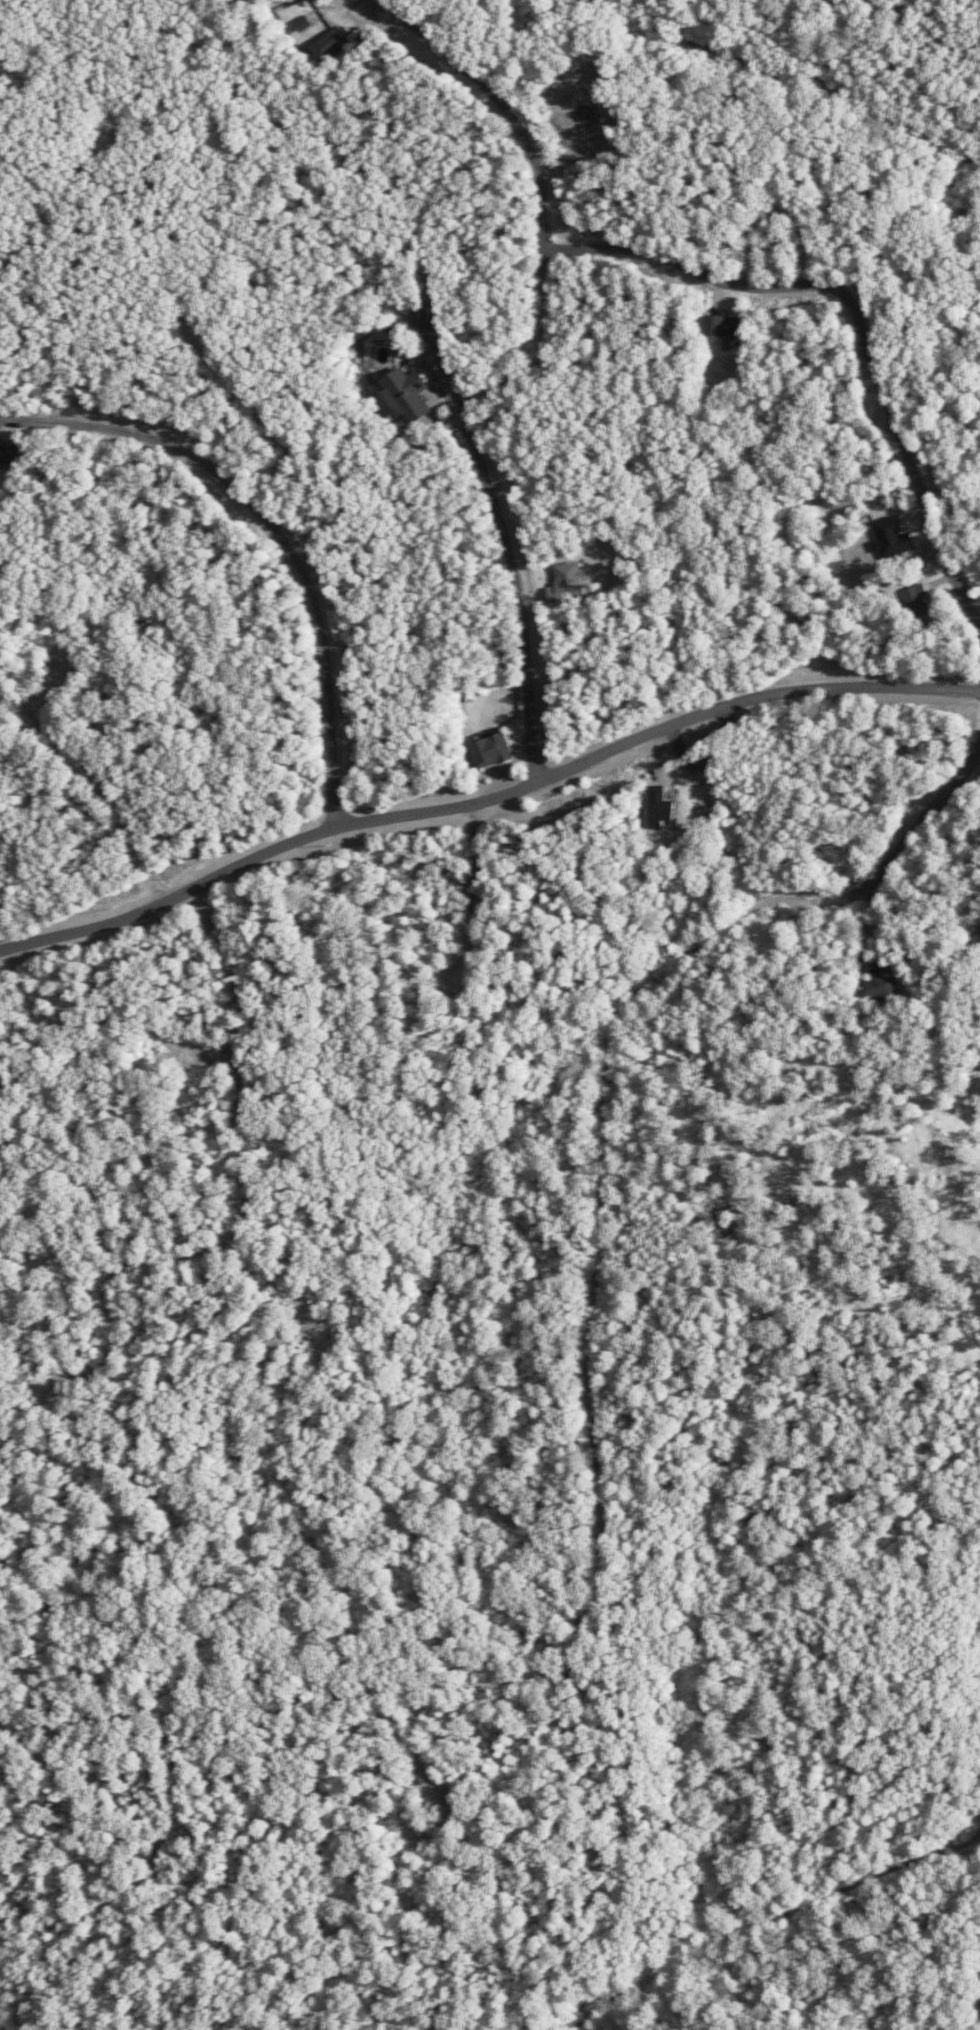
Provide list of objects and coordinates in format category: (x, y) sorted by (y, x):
building: (328, 46)
road: (791, 74)
road: (546, 193)
road: (62, 209)
road: (753, 241)
road: (857, 313)
building: (721, 326)
building: (406, 394)
road: (257, 405)
building: (9, 454)
road: (874, 488)
road: (278, 531)
building: (889, 539)
road: (511, 548)
building: (566, 583)
building: (915, 600)
road: (42, 676)
road: (692, 691)
road: (711, 742)
building: (489, 751)
road: (101, 786)
road: (486, 804)
building: (659, 807)
road: (479, 890)
building: (875, 983)
road: (207, 1051)
road: (250, 1187)
road: (284, 1285)
road: (593, 1329)
road: (118, 1346)
road: (285, 1705)
road: (427, 1757)
road: (181, 1789)
road: (772, 1927)
road: (0, 2029)

